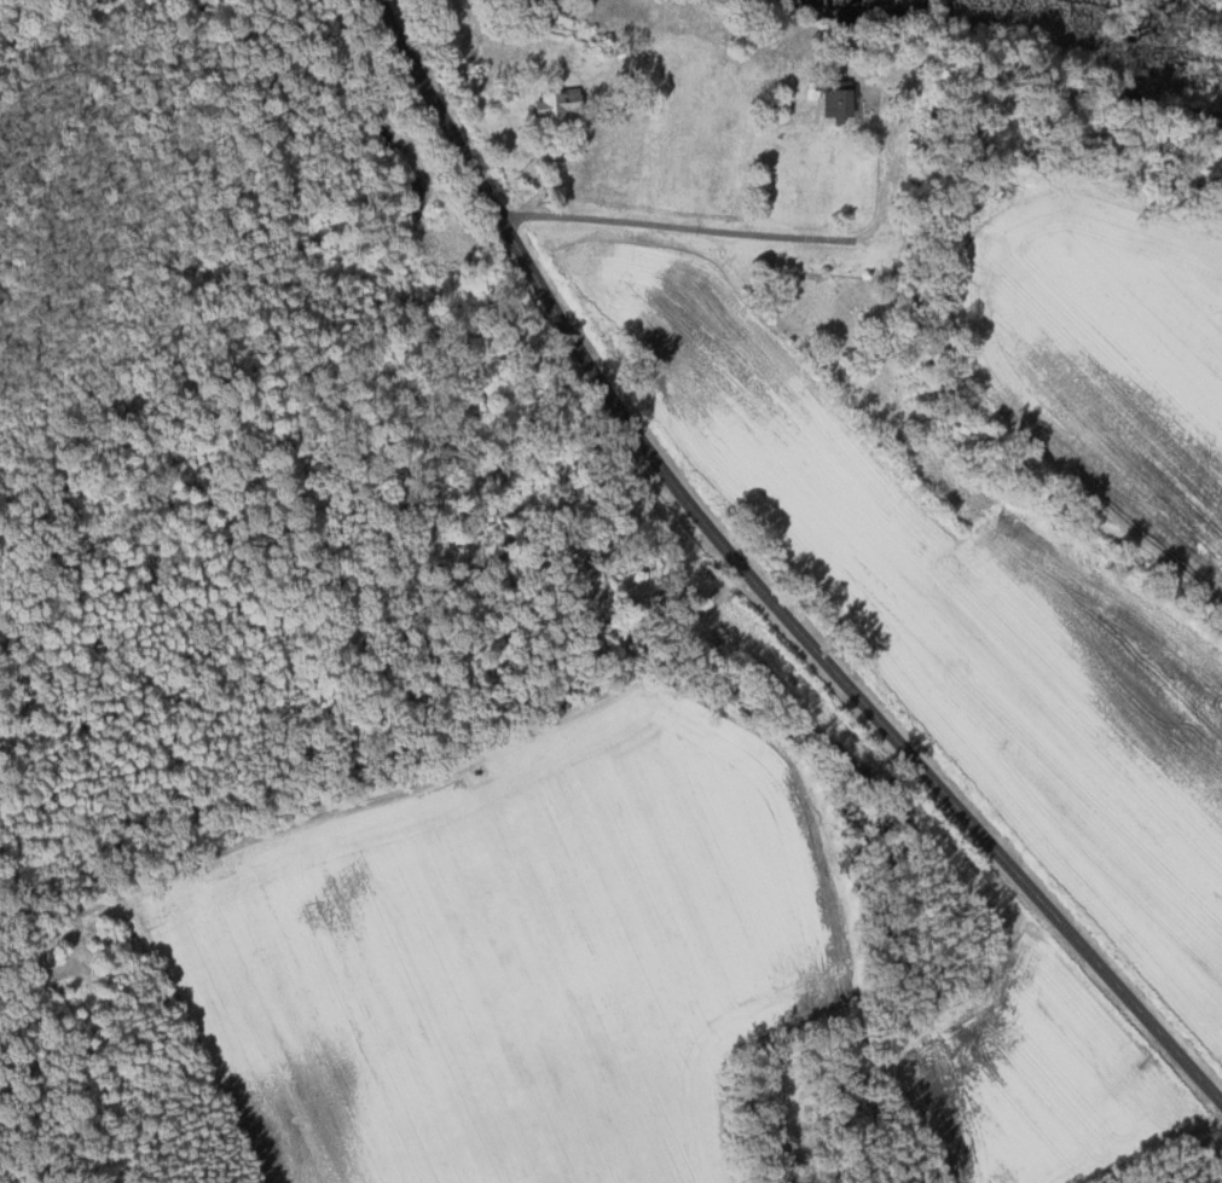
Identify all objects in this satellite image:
building: (826, 105)
building: (551, 106)
road: (687, 228)
road: (755, 585)

